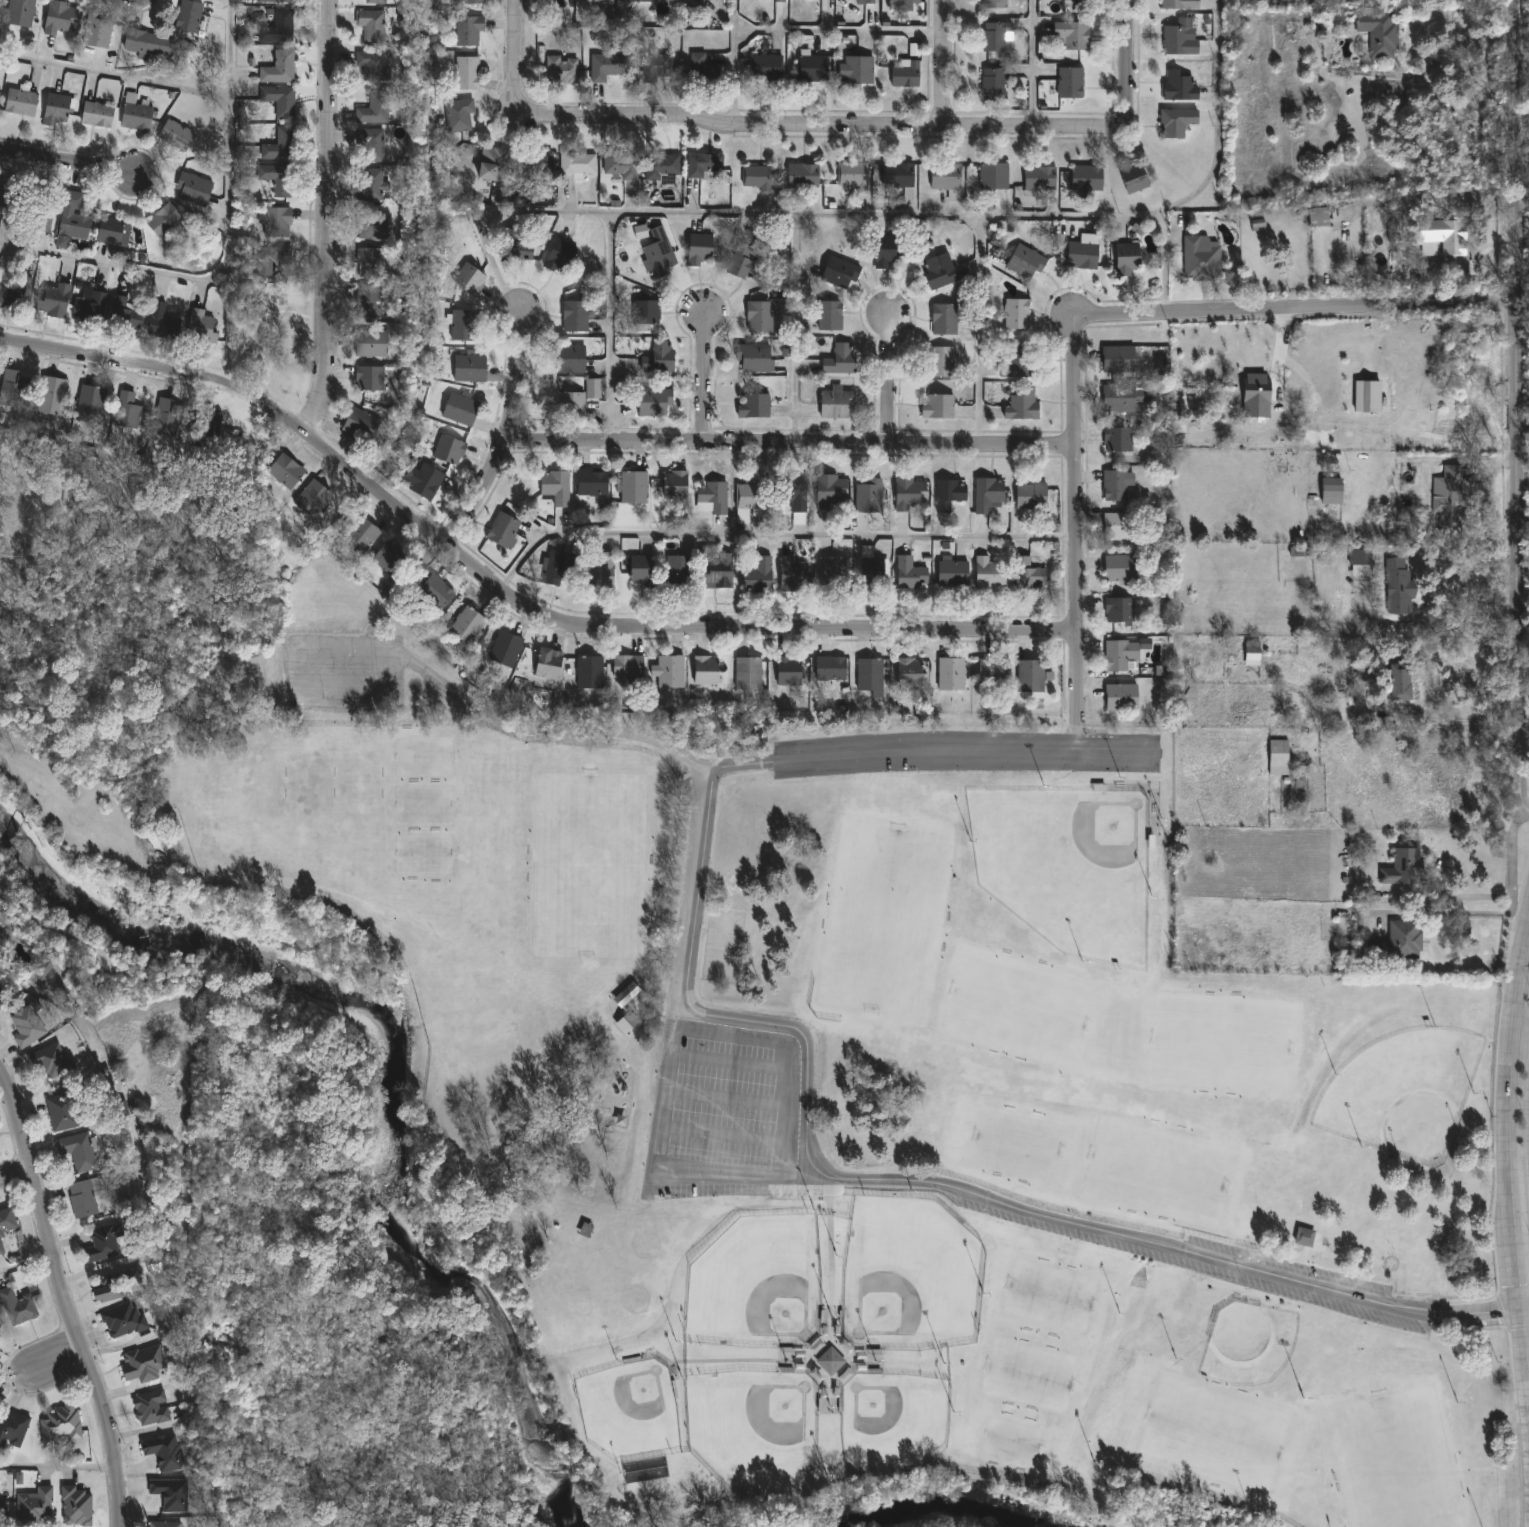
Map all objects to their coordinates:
building: (273, 0)
building: (904, 0)
building: (1068, 0)
building: (374, 1)
building: (473, 1)
building: (634, 1)
building: (779, 1)
building: (863, 1)
building: (695, 2)
building: (994, 4)
building: (1179, 4)
building: (19, 12)
building: (188, 15)
building: (61, 18)
building: (371, 25)
building: (278, 27)
building: (99, 29)
building: (468, 30)
road: (836, 31)
building: (1378, 31)
building: (1072, 33)
building: (994, 34)
building: (1179, 37)
building: (148, 42)
road: (227, 46)
road: (516, 46)
road: (1128, 60)
road: (1437, 60)
building: (372, 64)
building: (656, 64)
road: (940, 64)
building: (605, 65)
building: (766, 65)
road: (733, 66)
road: (1032, 66)
building: (278, 67)
building: (562, 67)
building: (812, 67)
building: (702, 68)
building: (856, 68)
building: (466, 71)
building: (905, 72)
building: (1070, 81)
building: (993, 82)
building: (1178, 85)
building: (280, 99)
building: (20, 101)
building: (373, 108)
building: (56, 109)
building: (97, 113)
building: (460, 114)
building: (136, 115)
building: (1175, 120)
road: (816, 132)
building: (176, 134)
building: (280, 143)
building: (370, 144)
building: (578, 162)
building: (495, 163)
building: (703, 163)
building: (621, 164)
building: (661, 164)
road: (67, 165)
building: (535, 165)
building: (897, 173)
building: (803, 174)
building: (852, 174)
building: (993, 174)
building: (945, 175)
building: (1132, 175)
building: (1039, 176)
building: (1086, 176)
building: (756, 177)
building: (277, 178)
road: (228, 180)
building: (369, 184)
building: (195, 187)
building: (5, 194)
road: (1426, 198)
building: (39, 214)
road: (888, 214)
building: (1317, 215)
road: (328, 218)
building: (164, 219)
building: (276, 221)
building: (74, 224)
building: (374, 224)
building: (113, 230)
building: (1392, 230)
building: (640, 232)
building: (1446, 234)
building: (516, 246)
building: (700, 248)
building: (886, 252)
building: (1082, 254)
building: (659, 256)
building: (270, 257)
building: (560, 257)
building: (1200, 257)
building: (1127, 258)
building: (369, 260)
building: (1025, 261)
building: (745, 262)
building: (839, 271)
building: (939, 272)
building: (469, 277)
building: (16, 293)
building: (53, 300)
building: (368, 301)
building: (90, 307)
road: (1299, 309)
building: (645, 311)
building: (122, 312)
building: (1016, 313)
building: (829, 314)
building: (575, 315)
building: (761, 315)
building: (944, 319)
building: (162, 322)
building: (463, 324)
building: (201, 325)
road: (610, 326)
road: (794, 327)
road: (978, 328)
park: (270, 338)
building: (371, 342)
building: (658, 356)
building: (755, 356)
building: (571, 357)
building: (840, 358)
building: (1118, 358)
building: (942, 360)
park: (1525, 360)
building: (1017, 362)
building: (469, 366)
building: (369, 377)
road: (703, 377)
road: (887, 378)
building: (13, 388)
building: (1261, 390)
building: (52, 396)
building: (1123, 397)
building: (1367, 397)
building: (576, 399)
building: (654, 400)
building: (89, 402)
building: (836, 402)
building: (753, 404)
building: (1022, 404)
building: (937, 405)
building: (460, 408)
road: (1515, 408)
building: (128, 410)
building: (167, 415)
building: (362, 422)
building: (210, 423)
road: (502, 434)
building: (1117, 438)
road: (789, 440)
building: (448, 449)
building: (286, 471)
building: (426, 480)
building: (592, 481)
building: (1114, 485)
building: (556, 486)
building: (633, 486)
building: (676, 488)
building: (1331, 490)
building: (795, 491)
building: (831, 491)
building: (949, 493)
building: (910, 494)
building: (989, 494)
building: (869, 495)
building: (1448, 495)
building: (751, 496)
building: (1031, 496)
building: (711, 497)
building: (314, 500)
road: (1076, 522)
building: (1119, 525)
building: (503, 529)
building: (360, 534)
road: (774, 540)
building: (389, 556)
building: (1358, 556)
building: (558, 567)
building: (870, 567)
building: (1120, 567)
building: (641, 568)
building: (718, 570)
building: (832, 571)
building: (677, 572)
building: (757, 572)
building: (910, 572)
building: (953, 572)
building: (990, 572)
building: (597, 573)
building: (1029, 573)
building: (793, 575)
building: (1397, 585)
building: (435, 591)
road: (506, 599)
building: (1118, 609)
building: (466, 624)
road: (1461, 630)
building: (505, 648)
building: (1251, 652)
building: (1121, 655)
building: (548, 663)
building: (628, 667)
building: (830, 668)
building: (706, 669)
building: (994, 669)
parking lot: (343, 670)
building: (668, 670)
building: (789, 670)
building: (589, 671)
building: (911, 672)
building: (748, 673)
building: (869, 673)
building: (951, 673)
building: (1030, 675)
building: (1400, 680)
building: (1121, 696)
road: (1370, 707)
road: (939, 751)
building: (1277, 755)
road: (744, 764)
park: (360, 781)
park: (312, 782)
park: (258, 786)
road: (1510, 860)
park: (1067, 864)
park: (590, 866)
building: (1402, 866)
road: (1445, 896)
road: (1446, 913)
park: (886, 918)
building: (1398, 940)
building: (1344, 949)
building: (43, 970)
building: (626, 993)
park: (1019, 1007)
building: (626, 1021)
building: (26, 1024)
park: (1221, 1042)
road: (805, 1045)
park: (773, 1058)
building: (50, 1059)
road: (668, 1081)
park: (1405, 1093)
building: (64, 1111)
parking lot: (727, 1111)
road: (740, 1137)
building: (77, 1150)
road: (1509, 1166)
road: (12, 1175)
building: (82, 1197)
building: (7, 1220)
building: (1304, 1237)
building: (101, 1243)
building: (1, 1247)
road: (24, 1259)
road: (1519, 1272)
park: (909, 1275)
building: (113, 1284)
park: (757, 1284)
park: (1050, 1294)
road: (63, 1300)
building: (17, 1305)
building: (122, 1319)
building: (0, 1331)
building: (830, 1361)
building: (142, 1363)
road: (57, 1365)
park: (1028, 1373)
building: (150, 1406)
park: (629, 1409)
park: (892, 1422)
building: (59, 1423)
building: (11, 1427)
park: (751, 1432)
park: (1214, 1433)
building: (164, 1452)
park: (1395, 1460)
road: (56, 1466)
building: (171, 1495)
building: (34, 1506)
building: (75, 1506)
building: (3, 1512)
building: (166, 1524)

